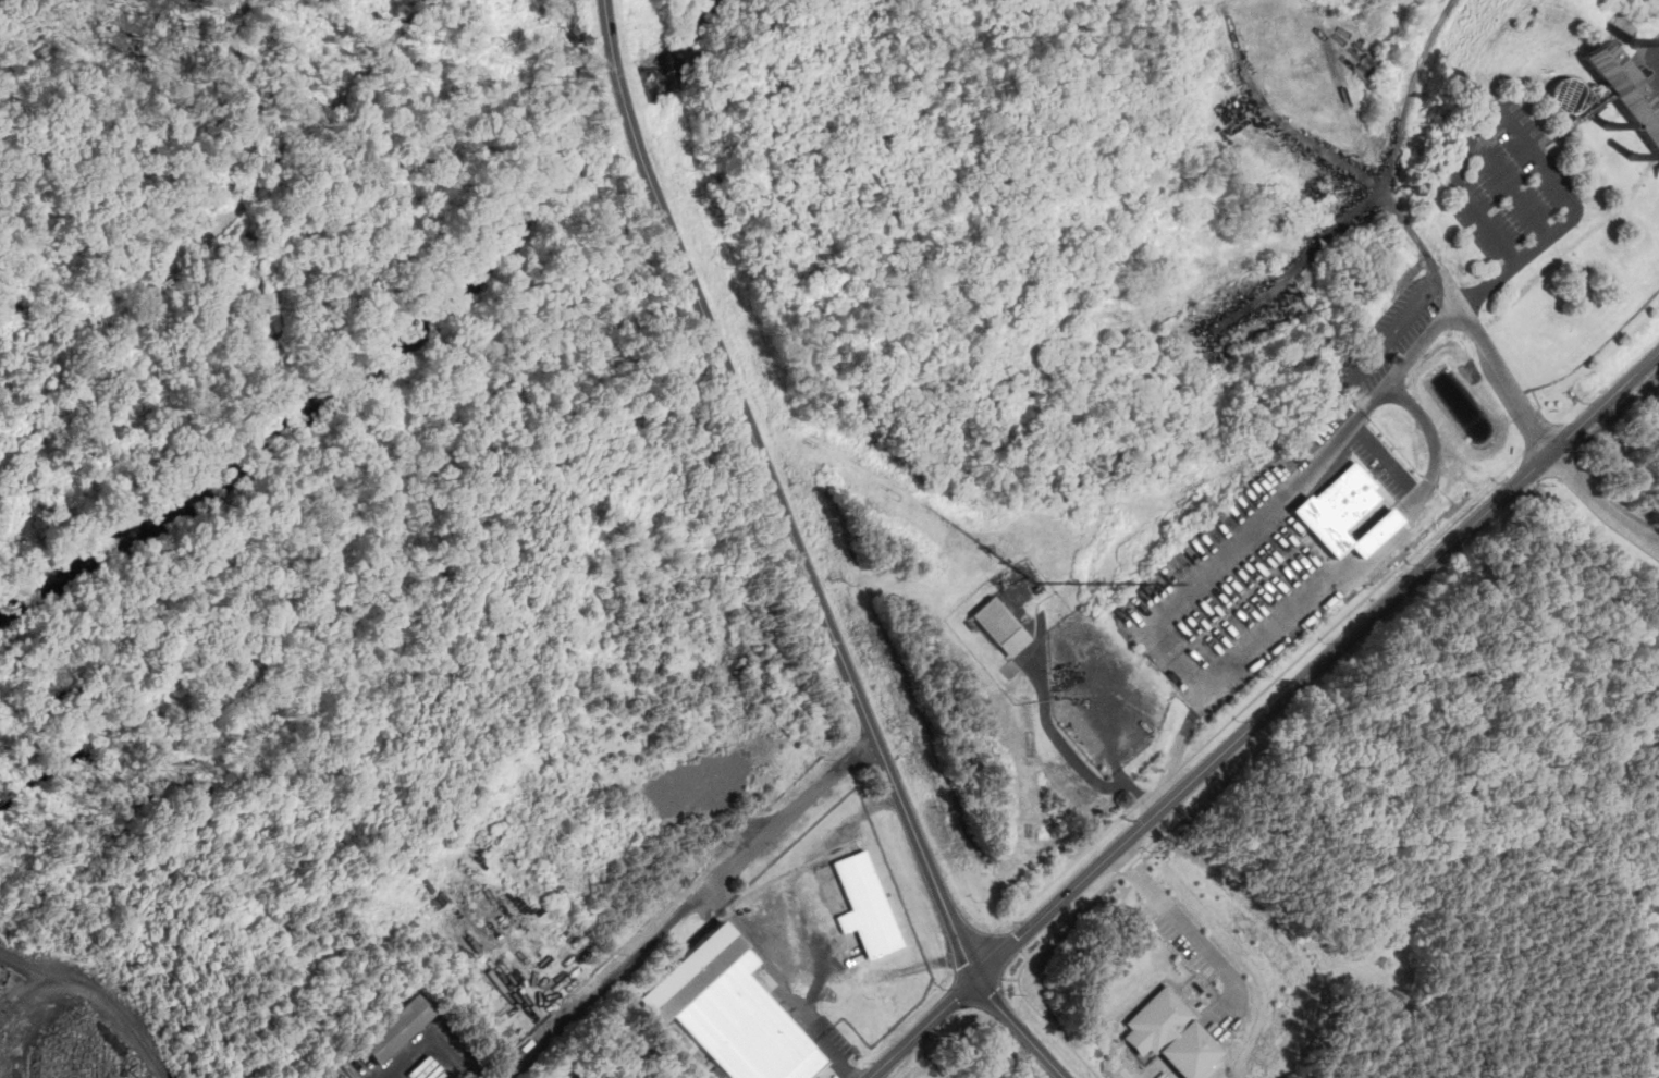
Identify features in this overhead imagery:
chimney: (1635, 39)
river: (692, 48)
building: (1609, 93)
road: (1523, 139)
road: (1414, 235)
road: (777, 492)
road: (1601, 504)
building: (1337, 506)
road: (1231, 542)
building: (999, 627)
road: (1318, 666)
road: (1261, 694)
road: (1052, 727)
road: (1115, 745)
road: (1145, 798)
road: (1155, 841)
road: (690, 906)
building: (867, 906)
road: (1195, 923)
road: (1019, 946)
road: (1027, 955)
road: (996, 985)
road: (777, 988)
building: (730, 1010)
road: (1049, 1025)
building: (396, 1028)
road: (924, 1028)
road: (1020, 1029)
building: (1177, 1036)

